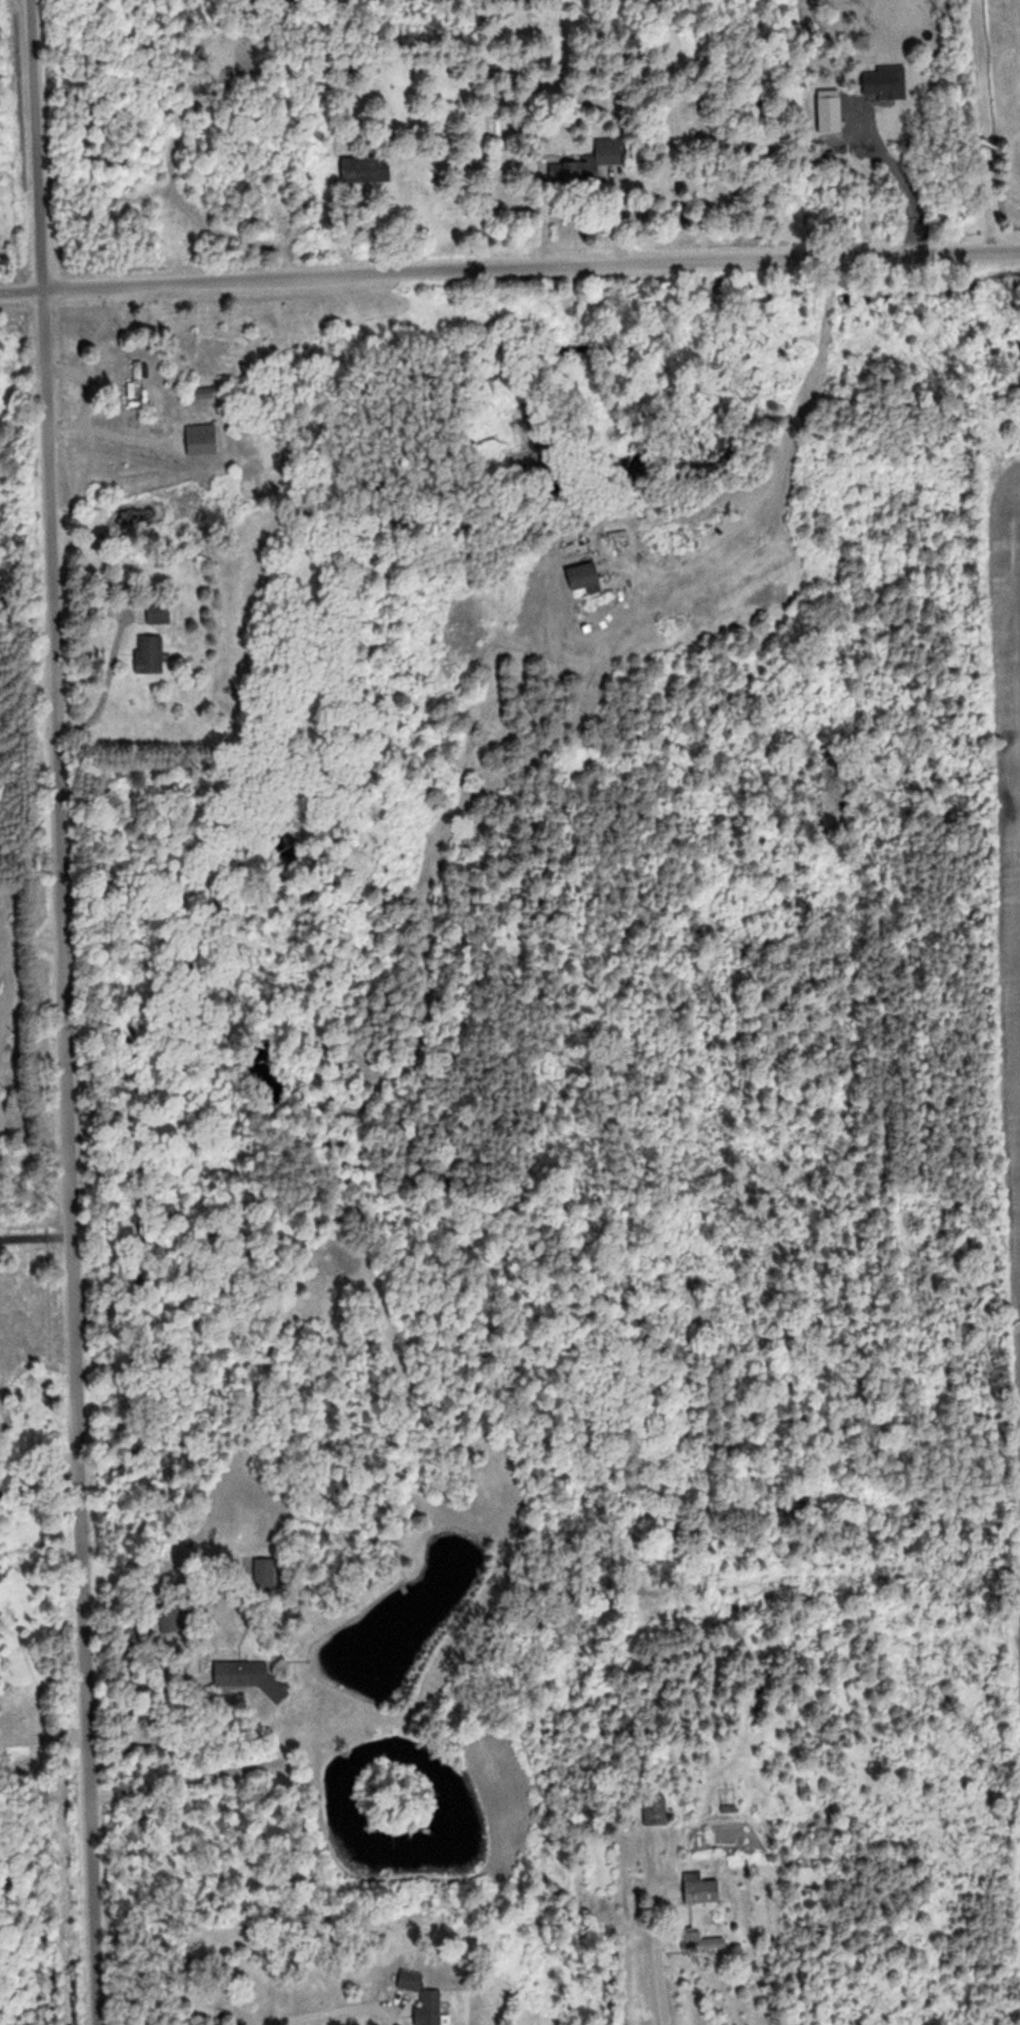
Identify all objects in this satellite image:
road: (1002, 125)
building: (612, 151)
building: (369, 169)
building: (569, 171)
road: (510, 268)
building: (138, 380)
building: (202, 394)
building: (589, 578)
building: (156, 614)
building: (152, 655)
road: (54, 1012)
building: (265, 1573)
building: (171, 1618)
building: (251, 1679)
building: (655, 1811)
building: (702, 1888)
building: (701, 1942)
building: (431, 2007)

